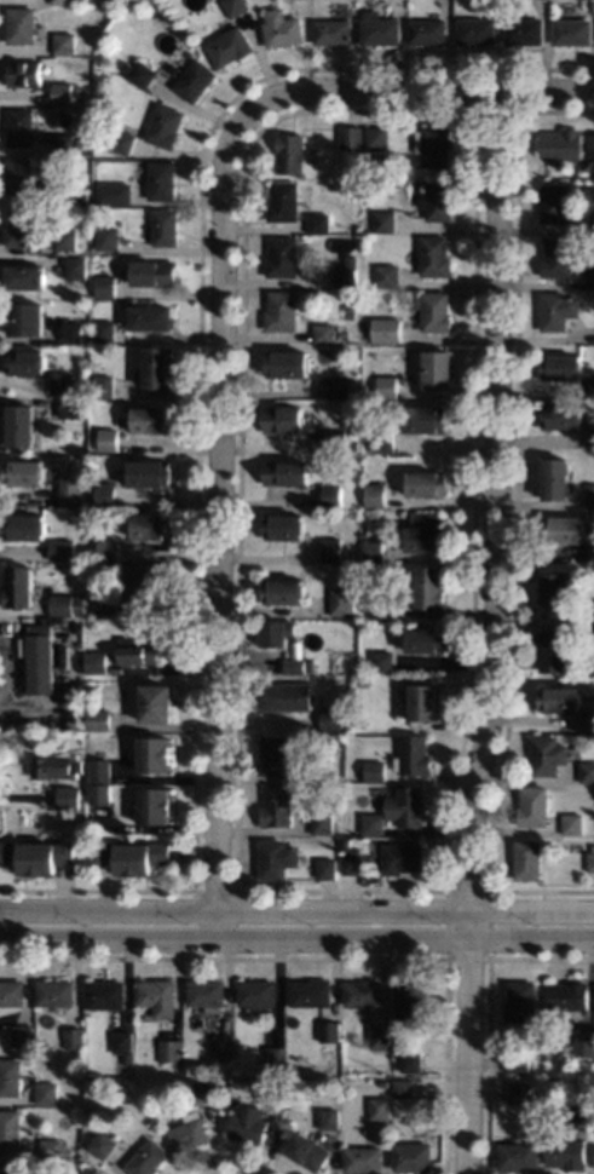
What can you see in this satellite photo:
building: (60, 1)
building: (80, 1)
building: (233, 6)
building: (19, 24)
building: (281, 28)
building: (376, 28)
building: (475, 29)
building: (523, 29)
building: (330, 30)
building: (426, 30)
building: (571, 30)
building: (62, 41)
building: (226, 46)
building: (23, 73)
building: (139, 73)
building: (194, 79)
road: (413, 90)
building: (59, 92)
building: (163, 125)
building: (18, 127)
building: (348, 137)
building: (375, 137)
building: (121, 142)
building: (60, 143)
building: (561, 143)
building: (432, 144)
building: (590, 145)
building: (288, 152)
building: (16, 175)
building: (160, 179)
building: (111, 194)
building: (81, 197)
building: (436, 200)
building: (282, 201)
building: (365, 201)
building: (554, 201)
building: (383, 220)
building: (317, 221)
building: (21, 225)
building: (163, 226)
building: (106, 237)
building: (63, 238)
building: (433, 254)
building: (556, 255)
building: (279, 257)
building: (74, 266)
building: (154, 272)
building: (345, 272)
building: (385, 275)
building: (24, 276)
building: (590, 276)
building: (103, 284)
building: (279, 310)
building: (434, 310)
building: (556, 310)
building: (150, 316)
building: (23, 318)
building: (103, 330)
building: (70, 332)
building: (322, 332)
building: (386, 332)
building: (24, 362)
building: (286, 362)
building: (157, 366)
building: (561, 367)
building: (437, 369)
building: (59, 381)
building: (103, 385)
building: (386, 385)
building: (335, 386)
building: (69, 408)
building: (103, 409)
building: (560, 415)
building: (151, 418)
building: (283, 418)
building: (423, 419)
building: (18, 424)
building: (590, 435)
building: (351, 436)
building: (106, 438)
building: (381, 438)
building: (334, 439)
building: (22, 471)
building: (286, 472)
building: (149, 473)
building: (555, 478)
building: (56, 482)
building: (426, 482)
building: (104, 493)
building: (74, 494)
building: (330, 494)
building: (373, 494)
building: (589, 494)
building: (80, 512)
building: (283, 525)
building: (23, 526)
building: (152, 526)
building: (563, 526)
road: (218, 528)
building: (363, 533)
building: (423, 533)
building: (60, 548)
building: (108, 548)
building: (330, 548)
building: (373, 548)
building: (590, 552)
building: (149, 581)
building: (18, 585)
building: (429, 586)
building: (282, 591)
building: (555, 592)
building: (105, 600)
building: (340, 600)
building: (79, 603)
building: (59, 604)
building: (382, 605)
road: (495, 632)
building: (277, 633)
building: (425, 639)
building: (555, 650)
building: (135, 651)
building: (60, 655)
building: (39, 657)
building: (381, 660)
building: (93, 661)
building: (293, 666)
building: (364, 681)
building: (286, 695)
building: (559, 698)
building: (155, 702)
building: (422, 702)
building: (97, 718)
building: (330, 719)
building: (589, 719)
building: (154, 753)
building: (547, 753)
building: (272, 754)
building: (413, 755)
building: (53, 767)
building: (99, 769)
building: (319, 770)
building: (587, 770)
building: (374, 771)
building: (98, 794)
building: (67, 796)
building: (277, 805)
building: (534, 805)
building: (154, 806)
building: (406, 806)
building: (321, 821)
building: (373, 822)
building: (572, 823)
building: (346, 842)
building: (592, 847)
building: (36, 854)
building: (132, 854)
building: (402, 857)
building: (276, 858)
building: (527, 858)
building: (590, 861)
building: (352, 863)
building: (325, 867)
road: (296, 909)
road: (296, 939)
building: (11, 991)
building: (53, 991)
building: (310, 991)
building: (206, 992)
building: (255, 992)
building: (362, 992)
building: (104, 994)
building: (156, 996)
building: (566, 997)
building: (408, 999)
building: (519, 1001)
building: (328, 1030)
building: (22, 1035)
building: (73, 1037)
building: (377, 1037)
building: (121, 1041)
building: (221, 1043)
building: (582, 1044)
building: (168, 1051)
building: (273, 1055)
building: (409, 1060)
building: (515, 1060)
building: (10, 1077)
building: (382, 1083)
building: (403, 1087)
building: (276, 1090)
building: (517, 1090)
building: (46, 1092)
building: (203, 1092)
building: (379, 1106)
building: (581, 1107)
building: (328, 1118)
building: (247, 1123)
building: (10, 1127)
building: (188, 1132)
building: (103, 1145)
building: (51, 1146)
building: (306, 1151)
building: (565, 1152)
building: (517, 1155)
building: (411, 1156)
building: (146, 1158)
building: (362, 1158)
building: (10, 1166)
building: (94, 1172)

